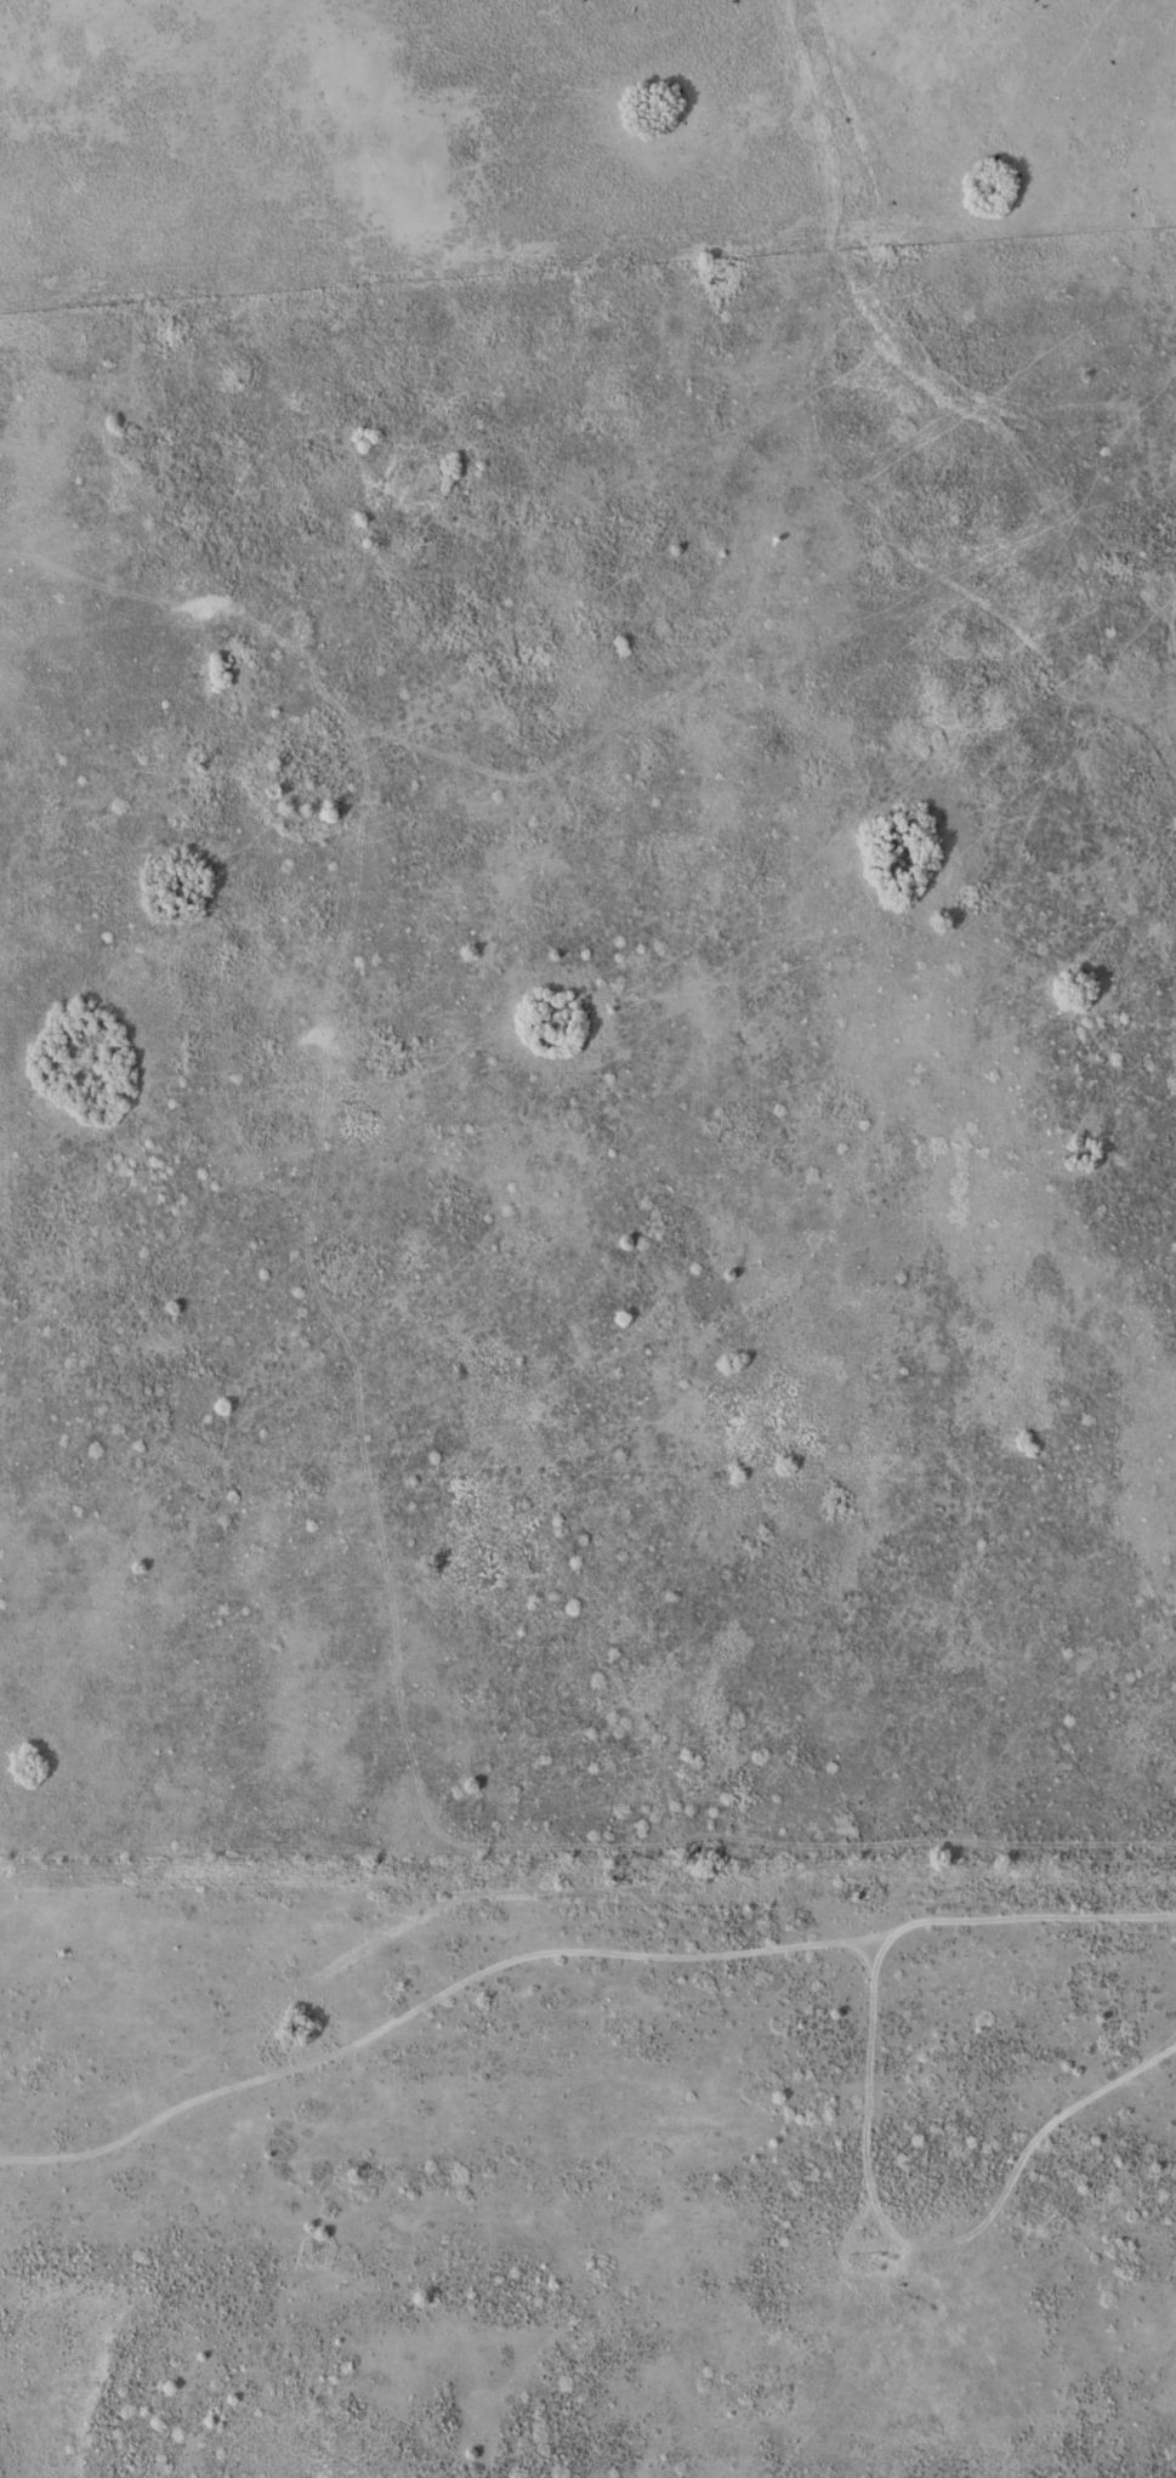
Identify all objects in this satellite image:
power tower: (325, 1871)
power tower: (779, 1872)

